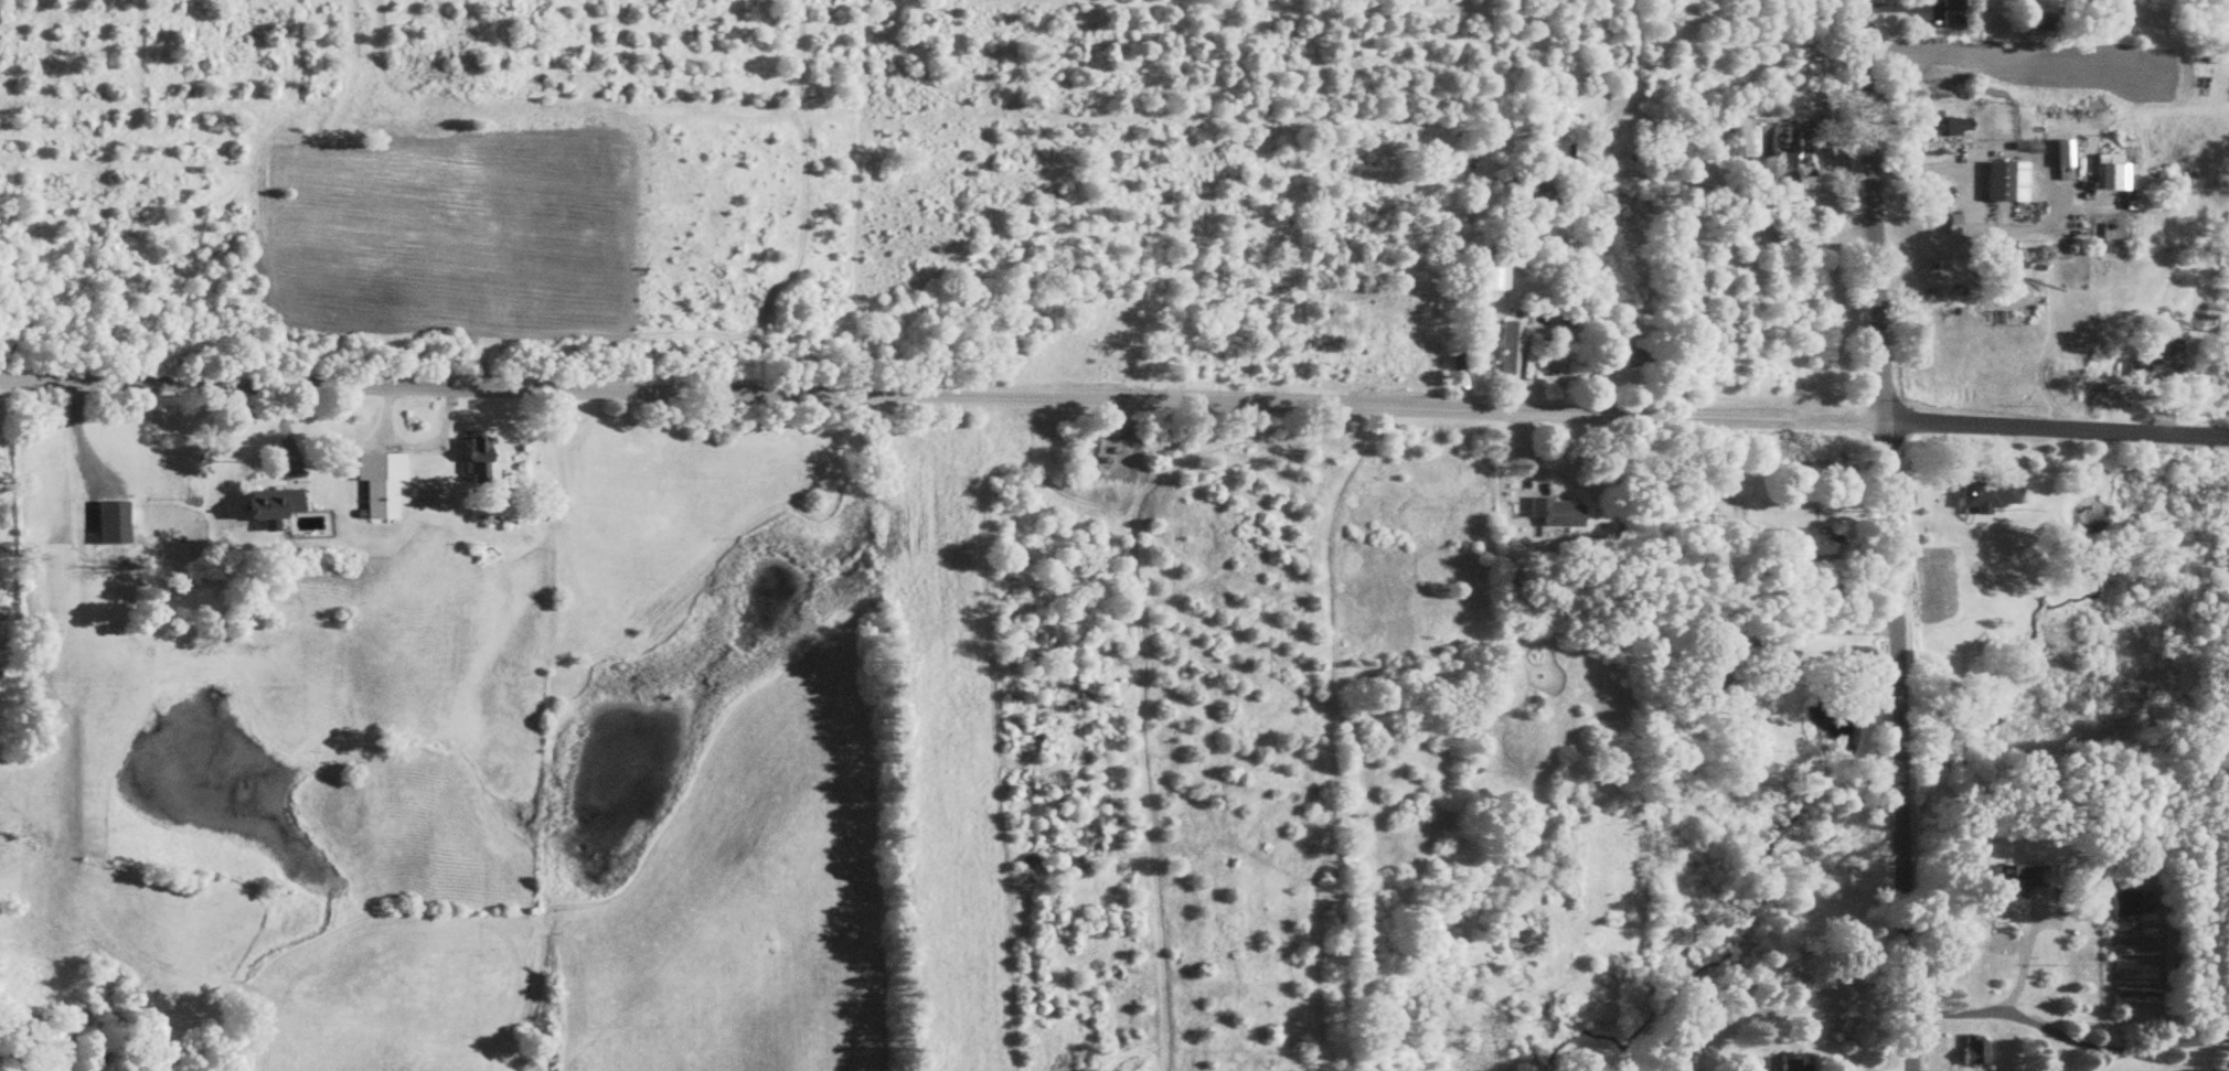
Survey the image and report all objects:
building: (1945, 14)
building: (2040, 33)
building: (1939, 127)
building: (1773, 140)
building: (2059, 154)
building: (2107, 173)
building: (2001, 183)
road: (1805, 194)
building: (1538, 200)
building: (1617, 200)
road: (1971, 208)
road: (1748, 210)
building: (1794, 224)
building: (1482, 270)
building: (1505, 355)
building: (1635, 357)
building: (2153, 362)
road: (940, 396)
road: (2055, 430)
road: (81, 439)
building: (481, 461)
building: (382, 484)
building: (1982, 494)
building: (277, 507)
building: (1551, 513)
building: (116, 525)
road: (1887, 535)
building: (1805, 543)
road: (1132, 565)
road: (1323, 571)
road: (1225, 585)
road: (1824, 631)
building: (1720, 665)
building: (2017, 879)
building: (2121, 906)
road: (2023, 960)
road: (2066, 1039)
building: (1971, 1051)
building: (1790, 1062)
building: (2226, 1065)

